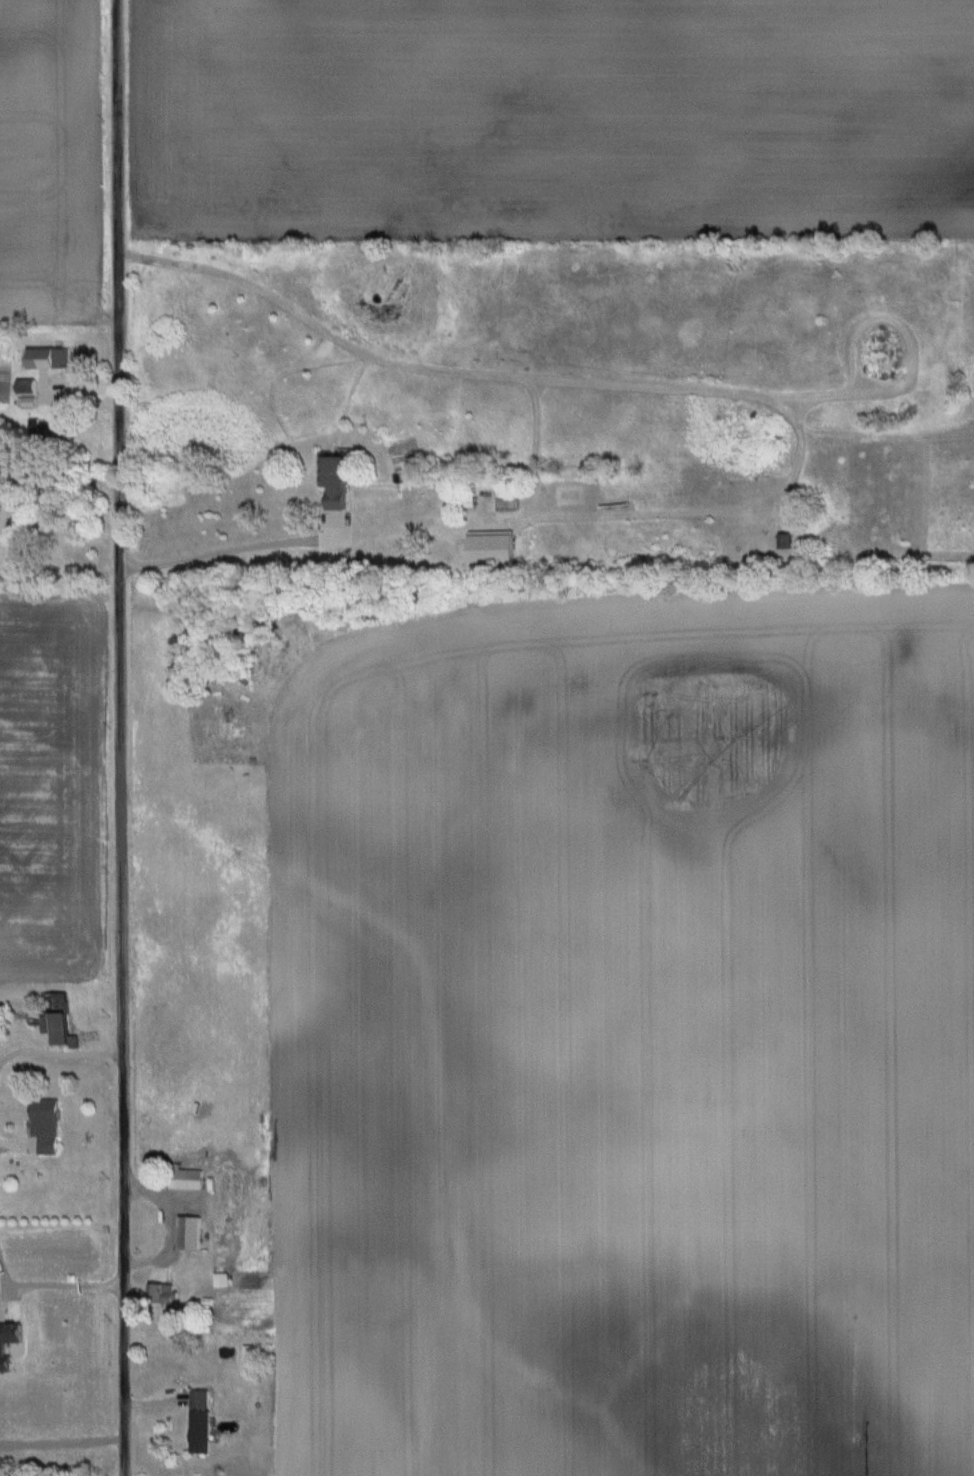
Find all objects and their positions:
building: (49, 358)
building: (27, 387)
building: (49, 427)
building: (336, 481)
building: (786, 540)
road: (230, 550)
road: (121, 738)
building: (58, 1020)
road: (60, 1059)
building: (46, 1126)
building: (187, 1179)
building: (191, 1233)
building: (222, 1280)
building: (164, 1294)
building: (252, 1353)
road: (63, 1420)
building: (200, 1422)

